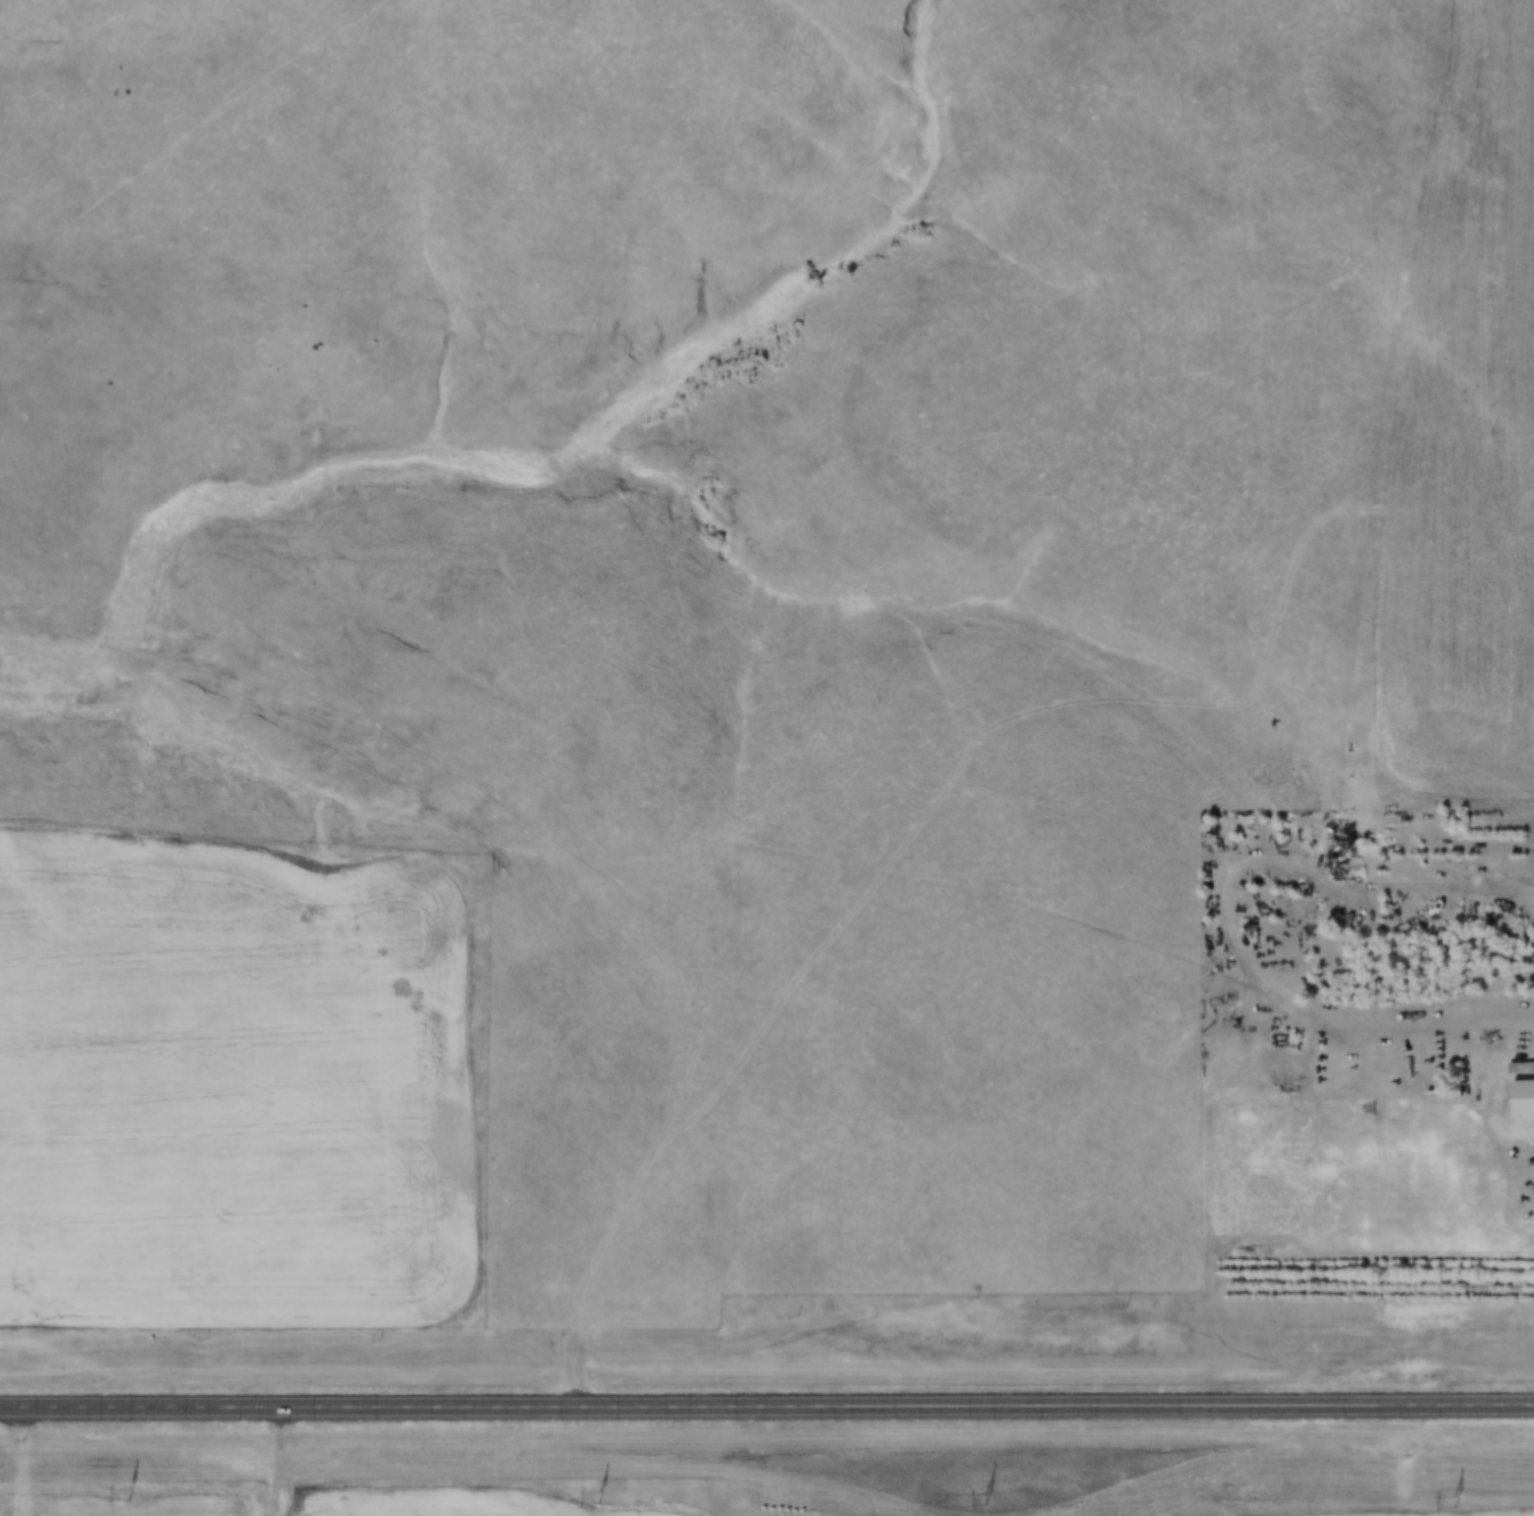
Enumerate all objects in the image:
building: (1524, 1100)
road: (767, 1416)

